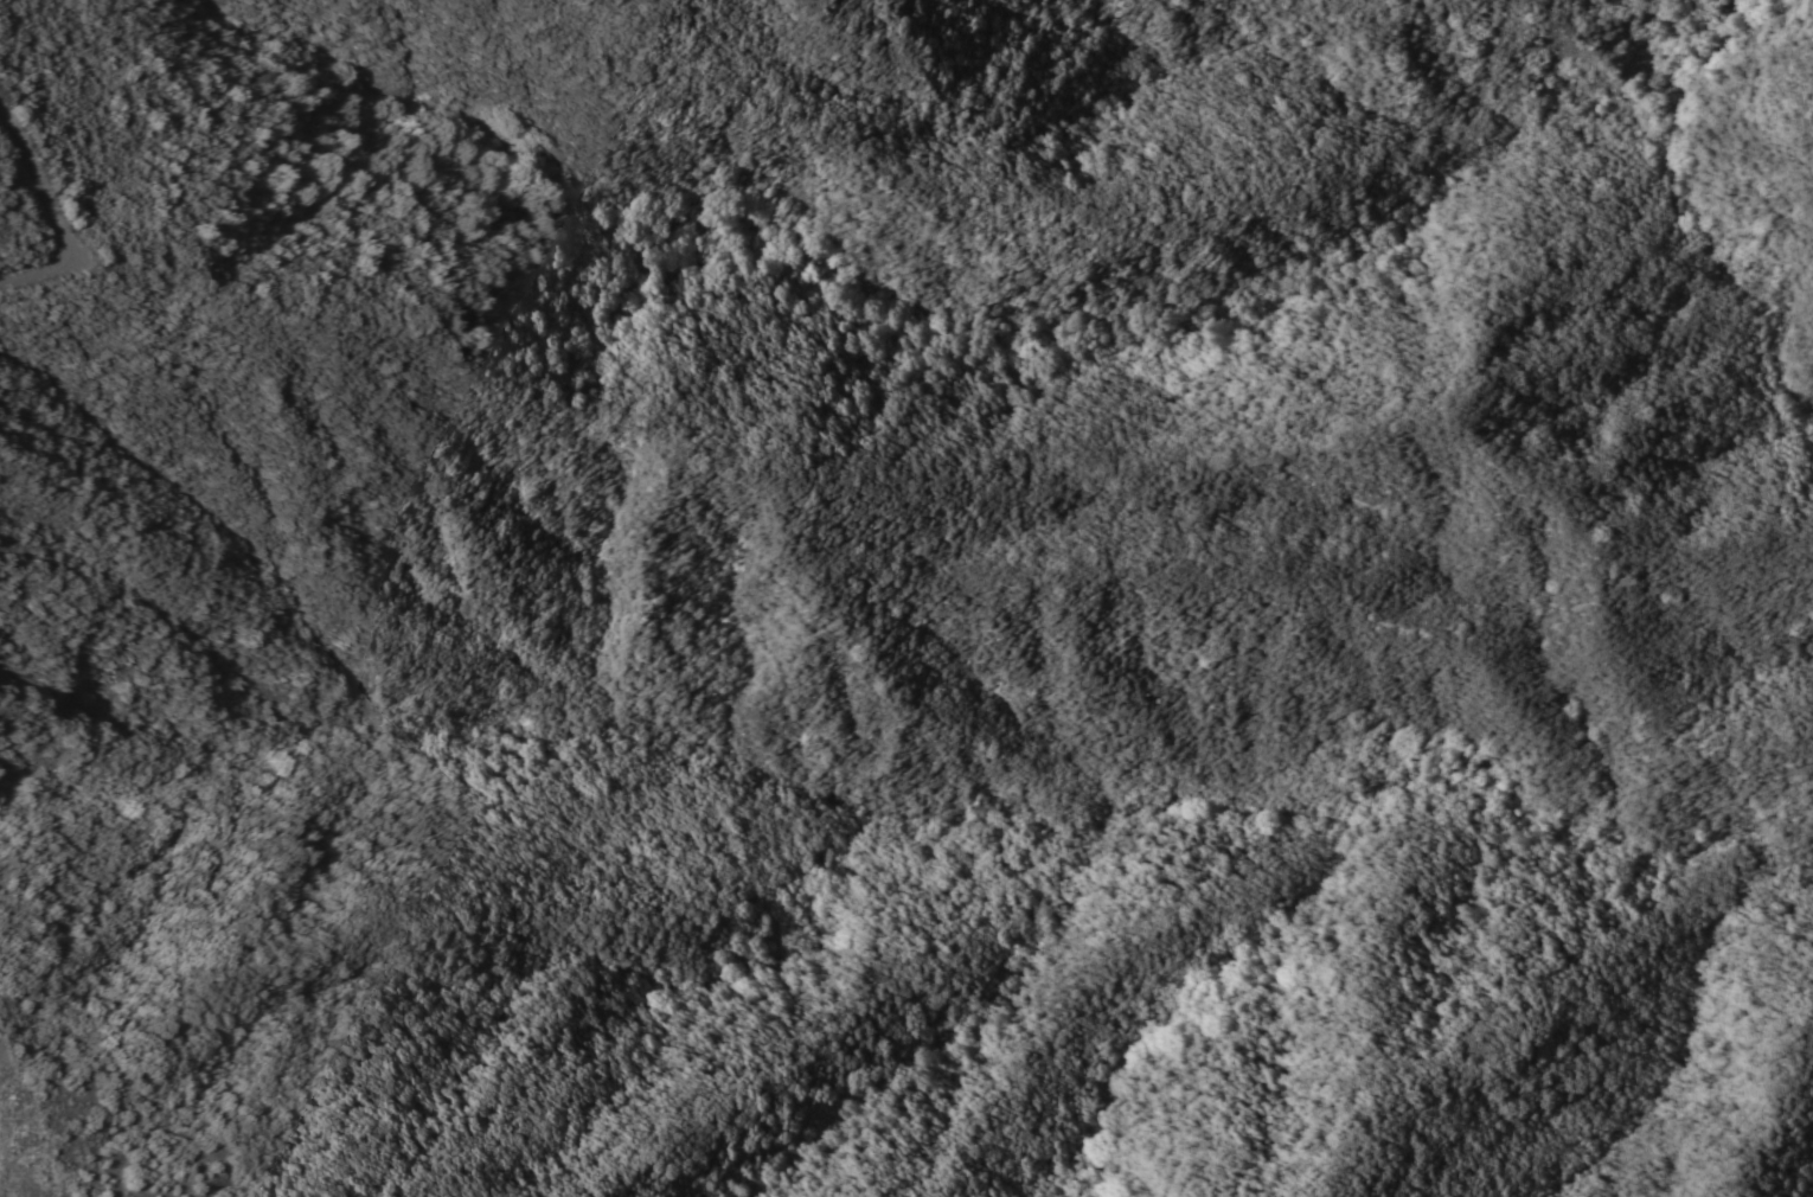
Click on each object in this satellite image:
road: (53, 209)
road: (4, 1179)

